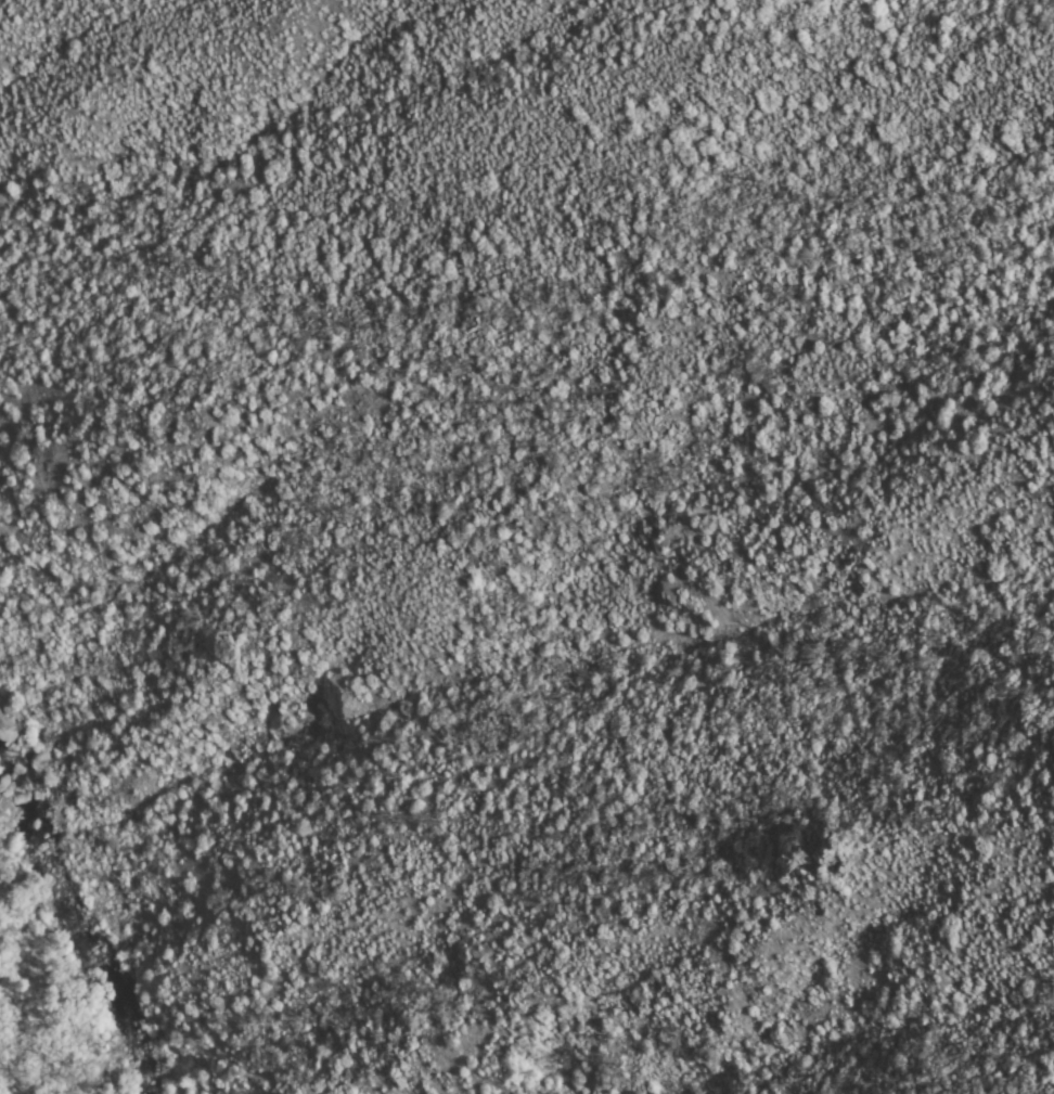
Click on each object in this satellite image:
river: (92, 909)

